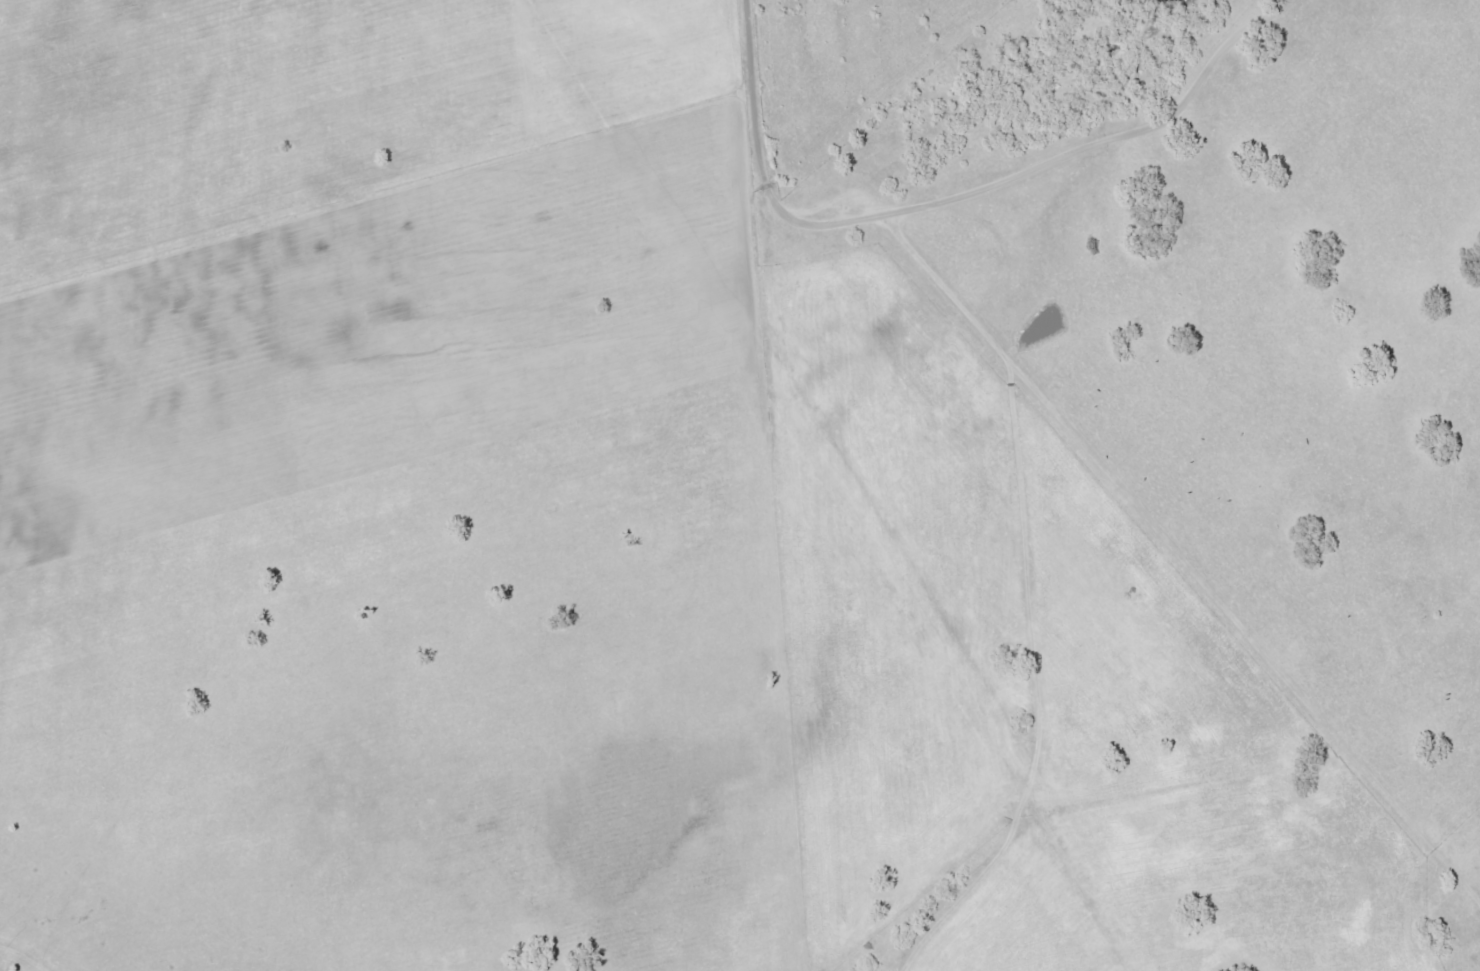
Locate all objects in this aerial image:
road: (758, 92)
road: (1025, 104)
road: (1141, 553)
road: (1050, 736)

